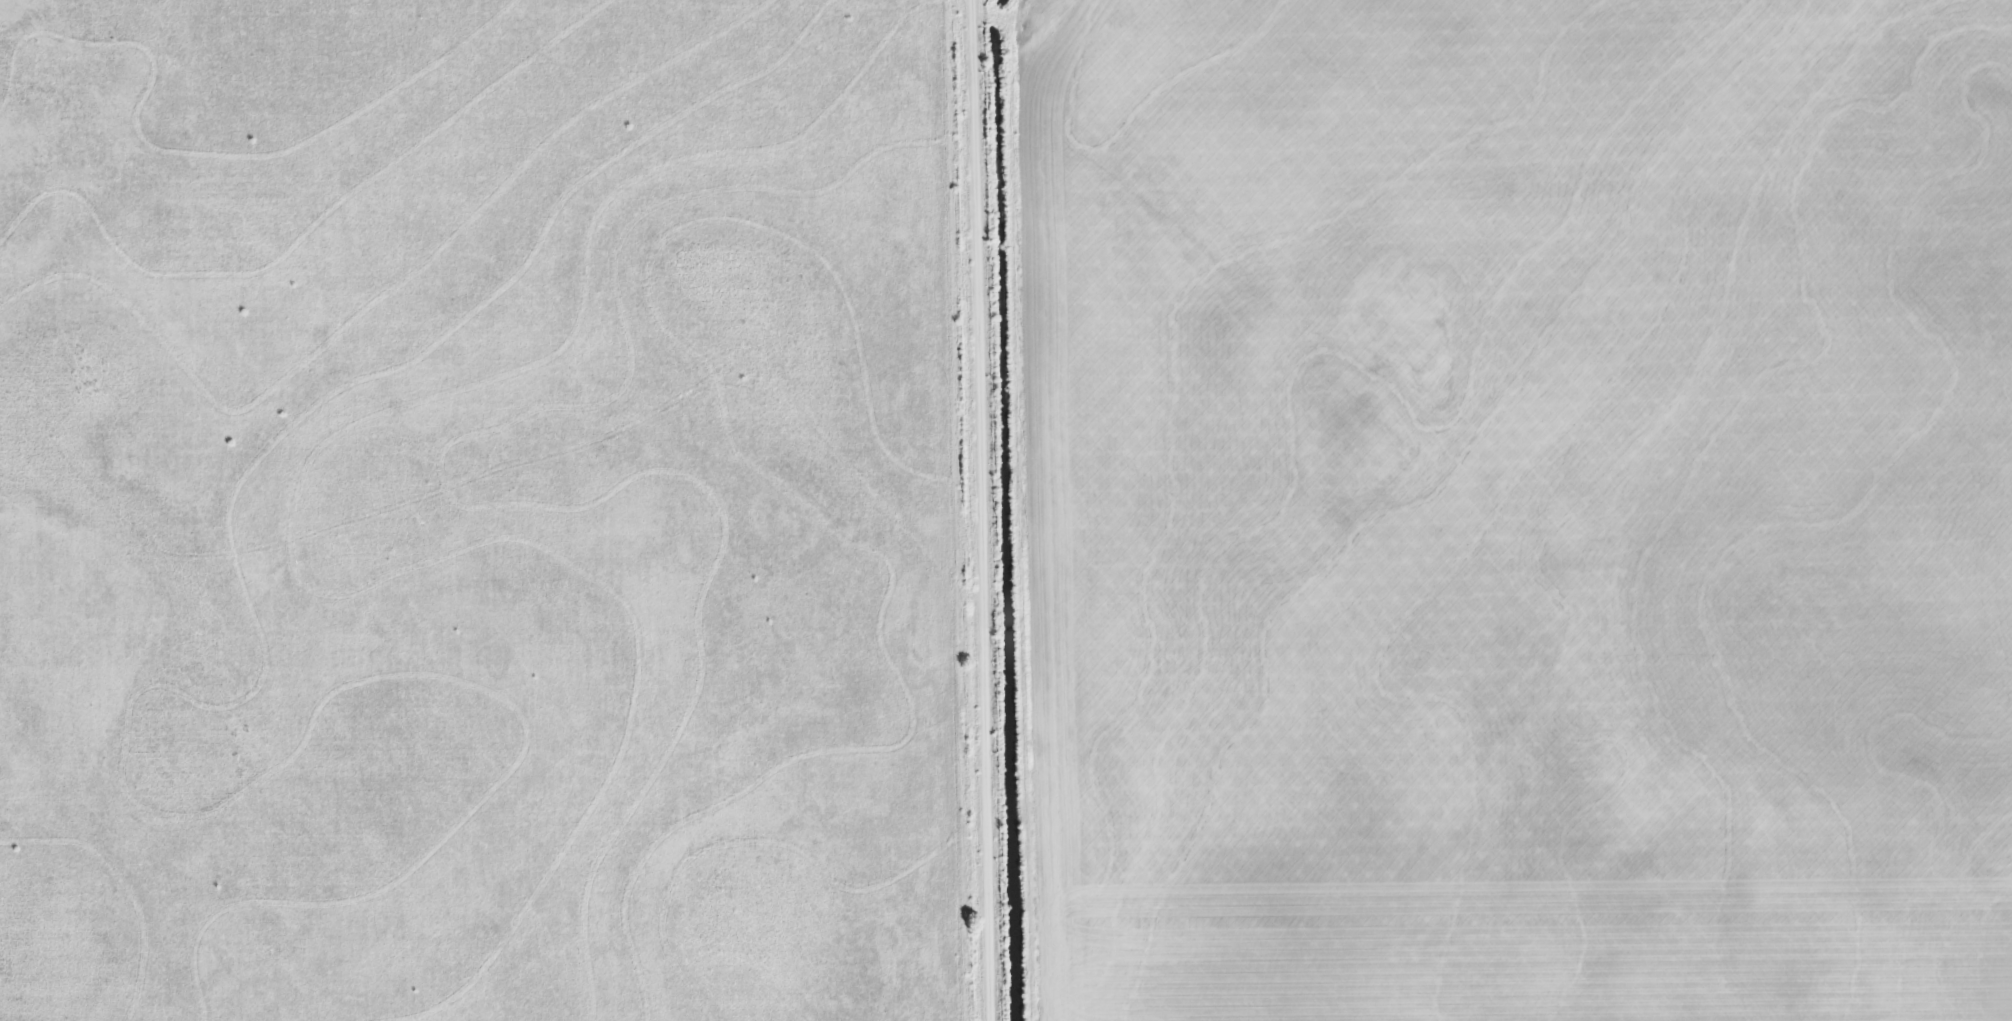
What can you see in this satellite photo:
road: (997, 510)

